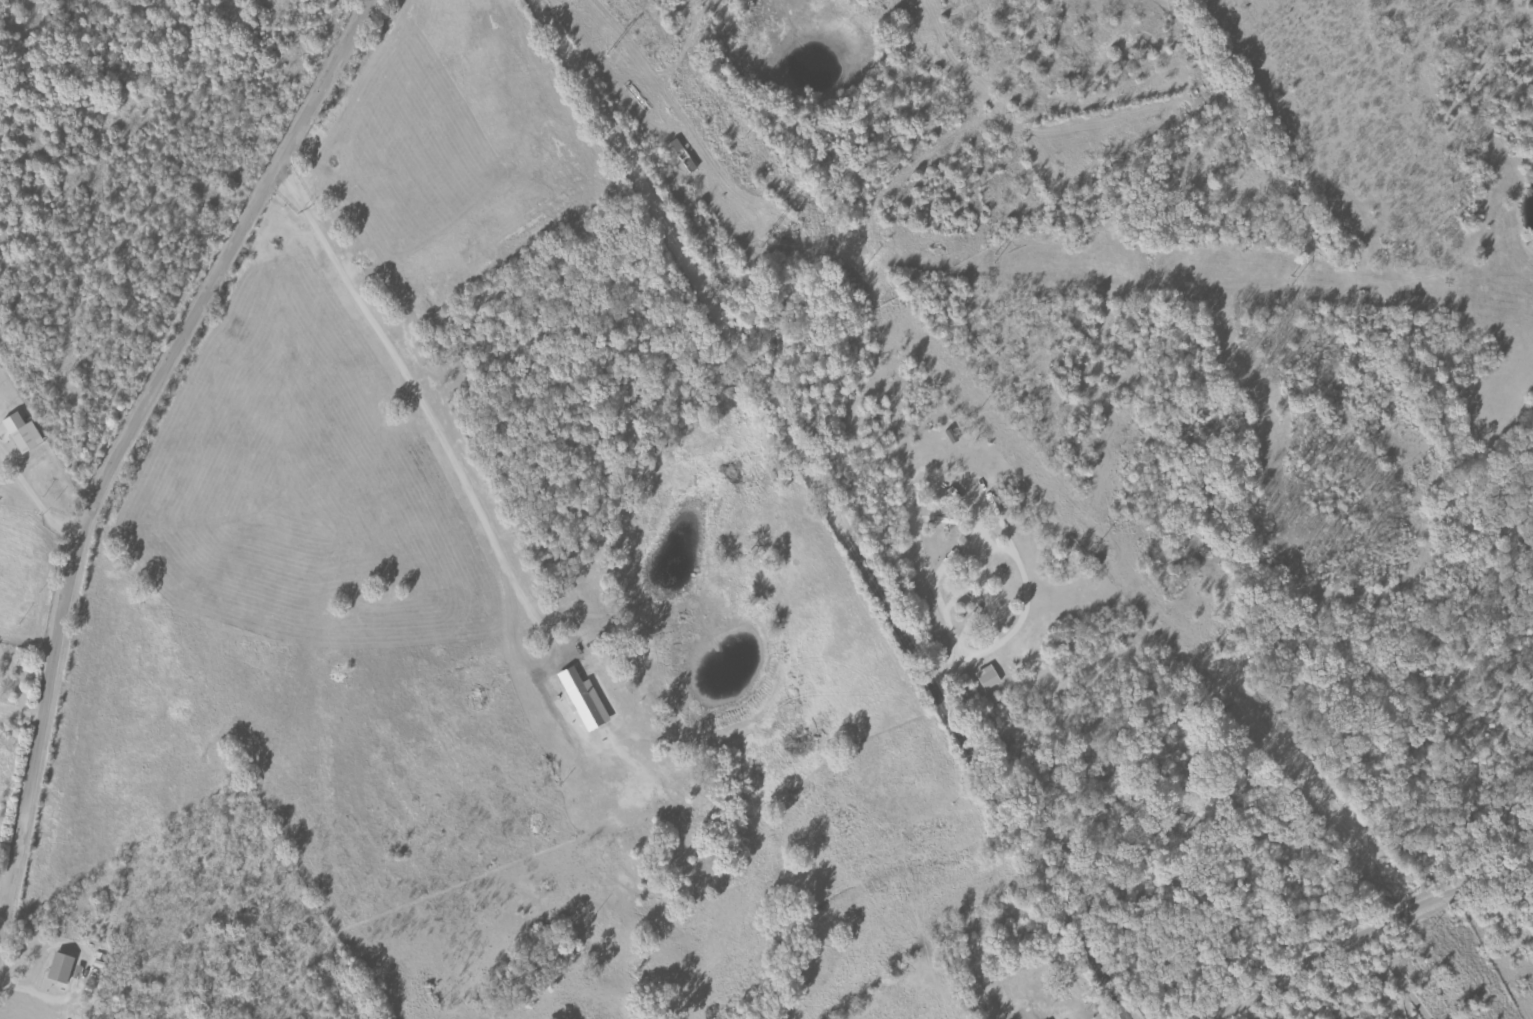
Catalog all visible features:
power tower: (612, 48)
power tower: (769, 234)
power tower: (995, 257)
power tower: (1293, 279)
building: (28, 438)
road: (127, 438)
road: (829, 508)
building: (990, 678)
building: (590, 706)
road: (1370, 935)
building: (63, 968)

